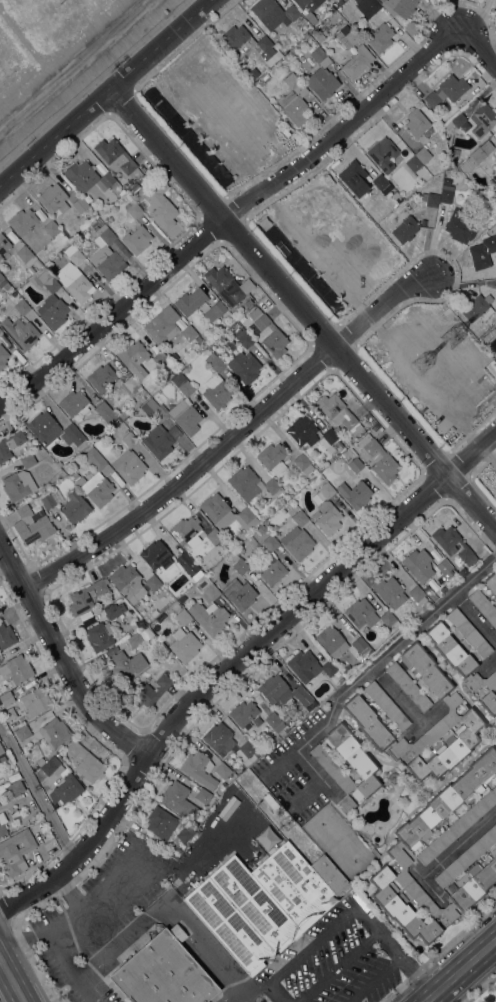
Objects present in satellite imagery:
building: (310, 3)
building: (373, 5)
building: (263, 7)
building: (404, 7)
building: (291, 12)
building: (234, 36)
building: (347, 36)
building: (380, 36)
building: (265, 44)
road: (478, 45)
building: (320, 56)
building: (358, 61)
road: (75, 66)
building: (322, 82)
building: (294, 84)
road: (105, 92)
building: (446, 92)
building: (294, 107)
building: (483, 119)
building: (455, 120)
building: (416, 122)
road: (213, 128)
building: (495, 144)
building: (383, 153)
building: (494, 153)
building: (423, 154)
building: (115, 155)
building: (477, 155)
building: (413, 163)
building: (465, 165)
building: (454, 170)
building: (88, 177)
building: (354, 177)
building: (382, 183)
building: (494, 185)
building: (135, 187)
building: (446, 191)
building: (53, 198)
building: (432, 199)
building: (161, 203)
building: (79, 204)
building: (134, 210)
building: (88, 211)
road: (226, 212)
building: (397, 217)
building: (24, 221)
building: (93, 221)
building: (459, 227)
building: (51, 228)
building: (405, 229)
building: (105, 233)
building: (137, 239)
building: (4, 247)
road: (306, 250)
building: (23, 253)
building: (74, 254)
building: (479, 256)
building: (106, 261)
building: (74, 281)
building: (227, 283)
building: (5, 285)
road: (378, 287)
building: (51, 301)
building: (190, 301)
building: (247, 302)
building: (21, 306)
building: (477, 307)
road: (302, 308)
building: (446, 310)
building: (214, 311)
road: (390, 314)
building: (163, 324)
building: (0, 330)
building: (20, 332)
building: (188, 332)
building: (276, 333)
power tower: (455, 336)
building: (243, 337)
building: (198, 338)
building: (2, 356)
building: (134, 356)
building: (159, 357)
power tower: (424, 362)
building: (244, 366)
building: (491, 367)
building: (101, 376)
building: (131, 383)
building: (216, 384)
road: (422, 389)
building: (74, 402)
building: (184, 406)
building: (153, 410)
building: (105, 412)
building: (339, 412)
building: (117, 421)
building: (44, 428)
road: (473, 428)
building: (303, 430)
road: (233, 434)
building: (73, 436)
building: (327, 438)
building: (129, 439)
building: (160, 440)
building: (10, 443)
road: (487, 454)
building: (273, 458)
building: (379, 458)
building: (27, 459)
building: (303, 463)
building: (355, 464)
building: (324, 465)
building: (129, 466)
building: (78, 478)
building: (97, 479)
building: (249, 483)
building: (18, 484)
building: (354, 491)
building: (51, 498)
building: (32, 501)
building: (75, 506)
building: (217, 510)
building: (327, 510)
building: (248, 516)
building: (299, 518)
building: (31, 525)
road: (472, 526)
building: (261, 529)
building: (187, 531)
building: (214, 535)
building: (297, 541)
building: (270, 542)
building: (454, 546)
building: (156, 554)
building: (418, 564)
building: (189, 565)
building: (272, 569)
building: (443, 571)
building: (491, 581)
building: (128, 582)
building: (152, 582)
building: (239, 586)
building: (211, 591)
building: (390, 591)
building: (431, 594)
building: (85, 596)
building: (419, 596)
building: (483, 605)
building: (111, 611)
building: (361, 613)
road: (475, 615)
building: (209, 616)
building: (182, 617)
building: (387, 618)
building: (141, 623)
building: (469, 631)
building: (100, 635)
building: (6, 636)
building: (135, 640)
building: (331, 640)
building: (184, 644)
building: (360, 645)
road: (61, 658)
road: (233, 660)
road: (489, 661)
road: (375, 662)
building: (127, 663)
building: (462, 663)
building: (308, 665)
building: (16, 669)
building: (408, 685)
building: (150, 691)
building: (284, 691)
building: (6, 698)
building: (35, 701)
road: (404, 702)
building: (386, 704)
building: (357, 708)
building: (243, 712)
building: (9, 713)
building: (274, 722)
road: (415, 727)
building: (54, 732)
building: (21, 733)
building: (219, 737)
building: (247, 749)
building: (1, 750)
building: (2, 758)
building: (358, 759)
building: (84, 761)
building: (50, 765)
building: (199, 768)
building: (222, 770)
road: (322, 779)
road: (38, 788)
building: (14, 789)
building: (65, 790)
building: (203, 795)
building: (178, 799)
building: (270, 800)
building: (161, 822)
building: (2, 824)
building: (458, 826)
building: (185, 832)
building: (405, 841)
road: (458, 841)
building: (15, 851)
building: (172, 854)
building: (467, 856)
building: (330, 875)
road: (72, 896)
building: (260, 904)
road: (94, 909)
road: (168, 919)
building: (177, 932)
road: (187, 935)
road: (126, 938)
road: (208, 944)
road: (314, 945)
road: (12, 946)
road: (396, 949)
road: (439, 952)
road: (195, 955)
road: (208, 964)
road: (339, 966)
road: (460, 970)
road: (72, 971)
building: (163, 973)
railway: (464, 974)
road: (12, 978)
road: (376, 979)
road: (259, 988)
road: (277, 993)
road: (238, 994)
building: (125, 999)
road: (238, 999)
building: (206, 1001)

